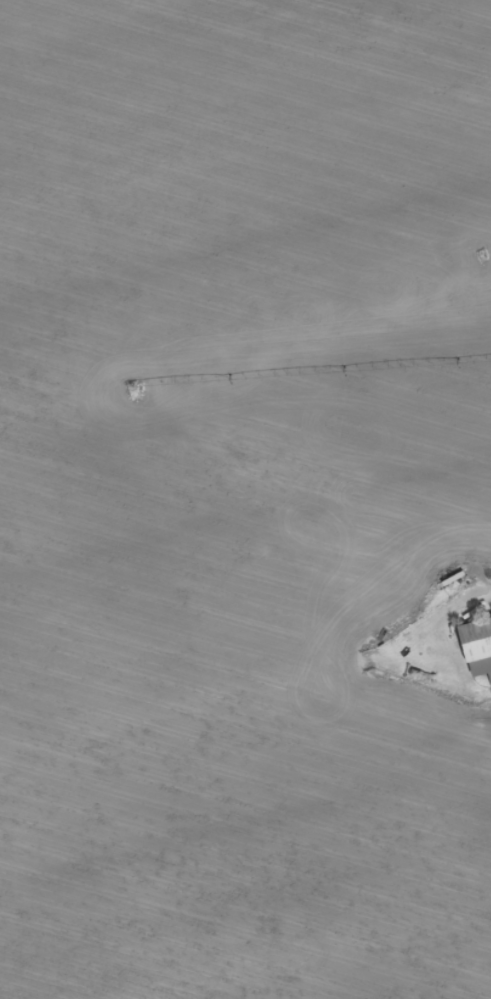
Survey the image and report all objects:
building: (474, 648)
road: (243, 679)

